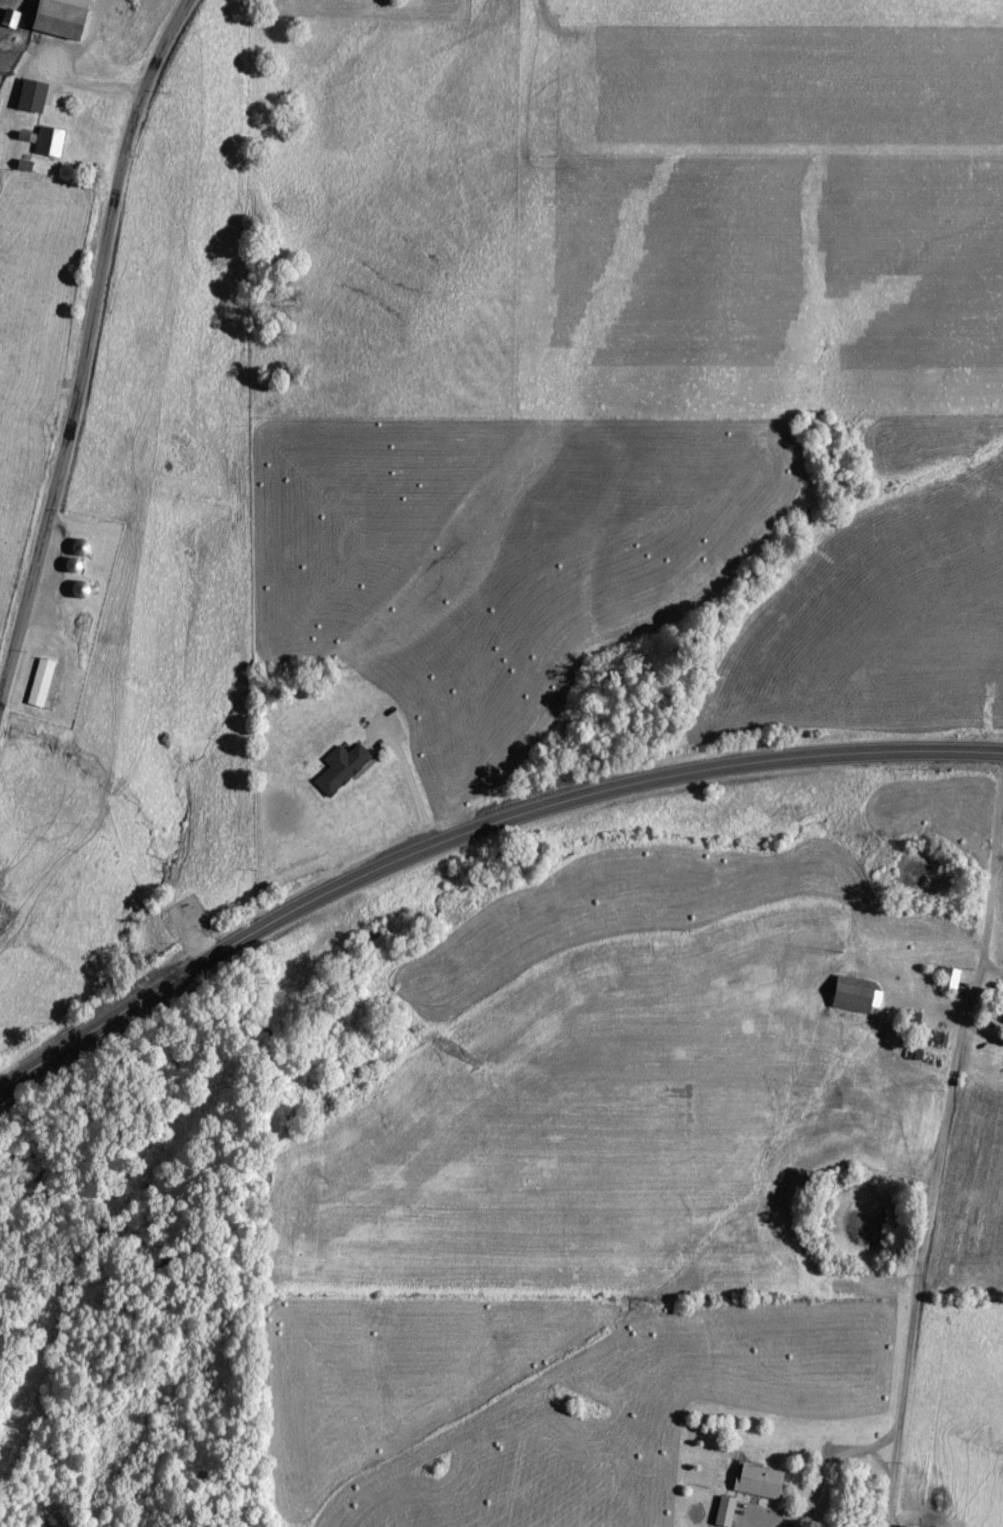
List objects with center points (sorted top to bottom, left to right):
building: (60, 16)
road: (91, 88)
building: (51, 138)
road: (86, 348)
building: (83, 544)
building: (43, 680)
building: (344, 765)
road: (405, 787)
road: (472, 827)
road: (999, 853)
building: (946, 977)
building: (850, 991)
building: (1002, 1018)
road: (938, 1163)
road: (879, 1463)
building: (762, 1478)
road: (820, 1481)
building: (727, 1508)
building: (909, 1525)

